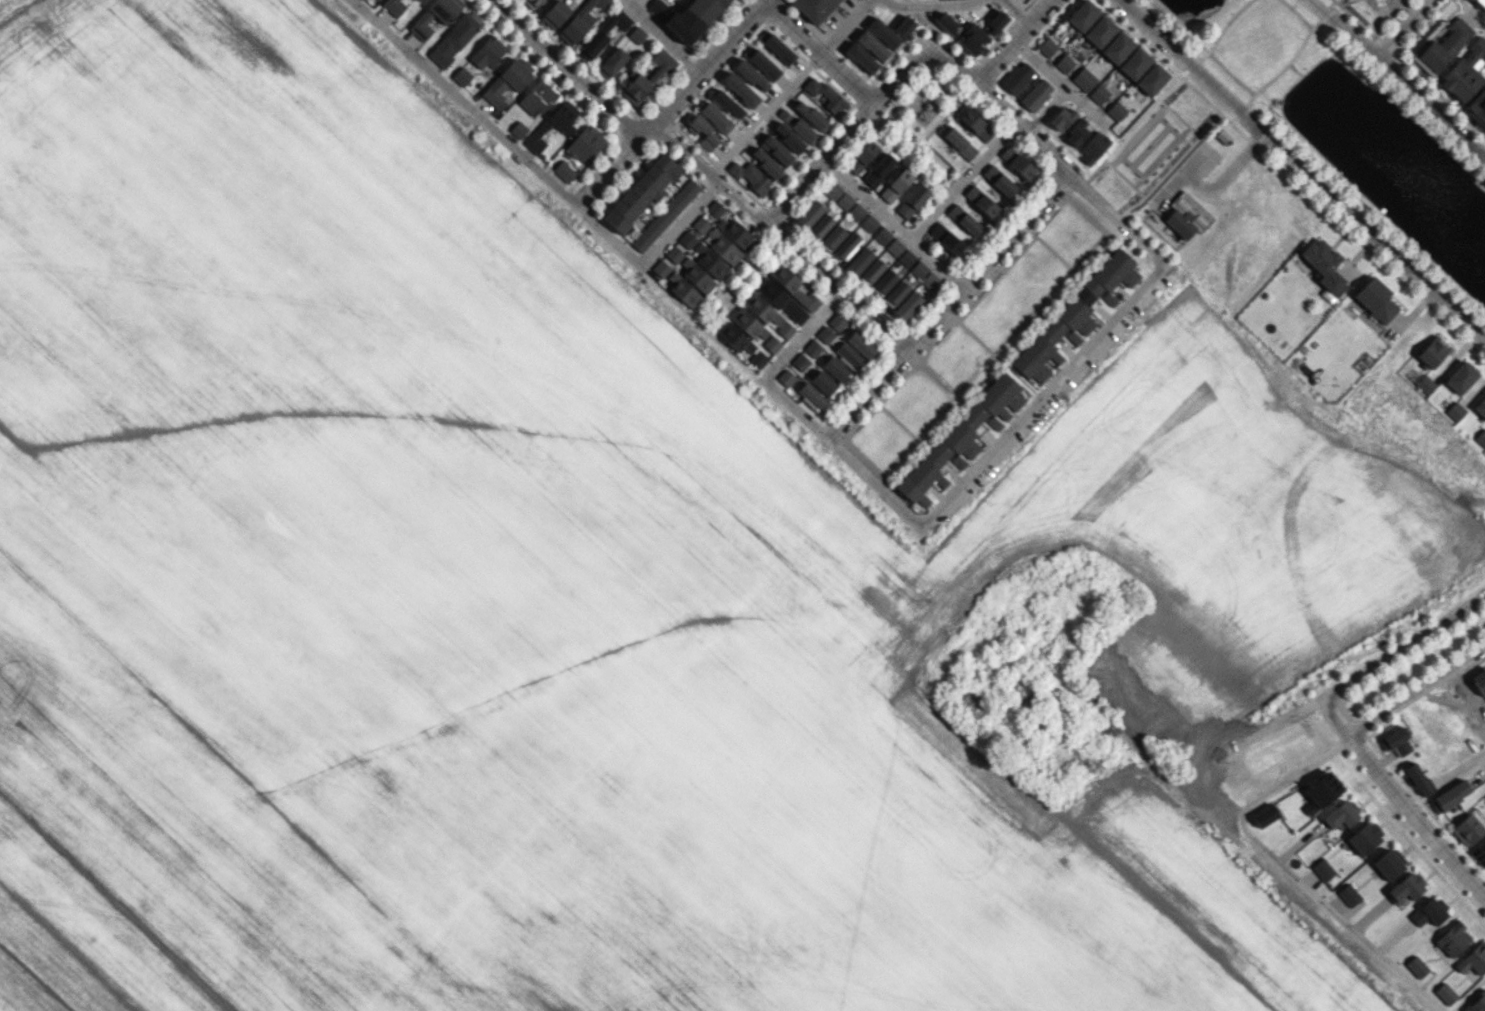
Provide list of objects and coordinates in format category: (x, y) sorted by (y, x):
building: (417, 0)
building: (531, 3)
road: (631, 3)
building: (1480, 3)
road: (929, 4)
building: (655, 6)
building: (393, 7)
building: (814, 8)
road: (1016, 11)
park: (1372, 12)
building: (555, 14)
building: (1083, 15)
building: (422, 19)
building: (693, 19)
building: (997, 20)
building: (579, 22)
building: (946, 22)
road: (844, 27)
building: (904, 27)
road: (1403, 29)
building: (1100, 31)
building: (602, 34)
building: (636, 34)
building: (884, 34)
road: (659, 35)
building: (972, 38)
building: (453, 40)
road: (1012, 42)
building: (873, 46)
building: (1047, 47)
building: (1117, 47)
building: (1442, 47)
building: (778, 48)
building: (487, 52)
road: (818, 52)
building: (862, 59)
building: (611, 62)
building: (1064, 63)
building: (1135, 63)
building: (763, 64)
building: (660, 65)
road: (563, 68)
road: (960, 71)
building: (1465, 72)
building: (751, 75)
building: (461, 76)
building: (1018, 77)
road: (1398, 78)
building: (1084, 79)
building: (1152, 79)
building: (508, 80)
road: (1059, 81)
building: (635, 89)
building: (739, 89)
building: (824, 94)
building: (1036, 94)
building: (1099, 94)
building: (536, 98)
road: (669, 102)
building: (727, 104)
building: (1477, 107)
road: (1046, 109)
building: (1116, 110)
road: (764, 113)
building: (784, 115)
building: (812, 116)
building: (715, 117)
building: (1062, 118)
building: (563, 125)
building: (518, 129)
building: (707, 131)
building: (804, 131)
building: (1078, 132)
building: (788, 137)
building: (957, 141)
building: (584, 144)
building: (1093, 146)
building: (776, 150)
building: (862, 155)
building: (765, 162)
building: (1018, 163)
road: (1302, 165)
building: (880, 168)
building: (563, 171)
road: (539, 172)
road: (1183, 174)
road: (1230, 174)
building: (750, 176)
road: (961, 179)
building: (1001, 182)
building: (896, 184)
building: (641, 192)
building: (837, 195)
building: (912, 201)
building: (982, 203)
building: (715, 209)
building: (855, 211)
building: (808, 214)
building: (664, 216)
building: (1187, 217)
building: (965, 221)
building: (868, 223)
building: (700, 225)
road: (893, 225)
building: (820, 226)
building: (736, 233)
road: (779, 234)
building: (881, 235)
building: (831, 238)
building: (686, 240)
building: (947, 240)
building: (847, 246)
building: (723, 247)
building: (894, 247)
road: (1357, 249)
building: (673, 254)
building: (905, 257)
building: (859, 260)
building: (712, 264)
building: (1325, 265)
building: (660, 268)
building: (919, 269)
building: (871, 271)
building: (696, 276)
building: (930, 280)
building: (883, 282)
building: (793, 287)
building: (683, 290)
building: (895, 294)
building: (781, 300)
building: (1376, 300)
building: (907, 305)
road: (1412, 305)
road: (948, 306)
building: (761, 308)
building: (1075, 313)
building: (836, 322)
building: (747, 323)
building: (784, 329)
road: (802, 334)
building: (824, 334)
building: (734, 337)
building: (1074, 337)
building: (771, 344)
building: (860, 344)
road: (1457, 347)
building: (812, 348)
building: (1433, 351)
building: (847, 355)
building: (758, 359)
building: (800, 361)
building: (834, 368)
building: (785, 377)
building: (1461, 377)
building: (824, 384)
building: (1425, 384)
road: (1474, 386)
building: (810, 396)
building: (994, 402)
road: (796, 407)
building: (1480, 407)
building: (1455, 411)
building: (994, 423)
building: (1481, 437)
road: (1000, 442)
building: (938, 461)
road: (1402, 646)
road: (1415, 691)
building: (1395, 742)
road: (1482, 758)
road: (1464, 764)
building: (1418, 779)
building: (1321, 792)
building: (1449, 796)
road: (1400, 798)
building: (1265, 815)
building: (1341, 815)
building: (1467, 829)
building: (1365, 837)
building: (1479, 852)
building: (1389, 863)
building: (1322, 869)
road: (1286, 870)
building: (1405, 887)
building: (1348, 894)
building: (1429, 912)
building: (1452, 939)
building: (1473, 959)
building: (1416, 966)
building: (1445, 993)
building: (1476, 1002)

